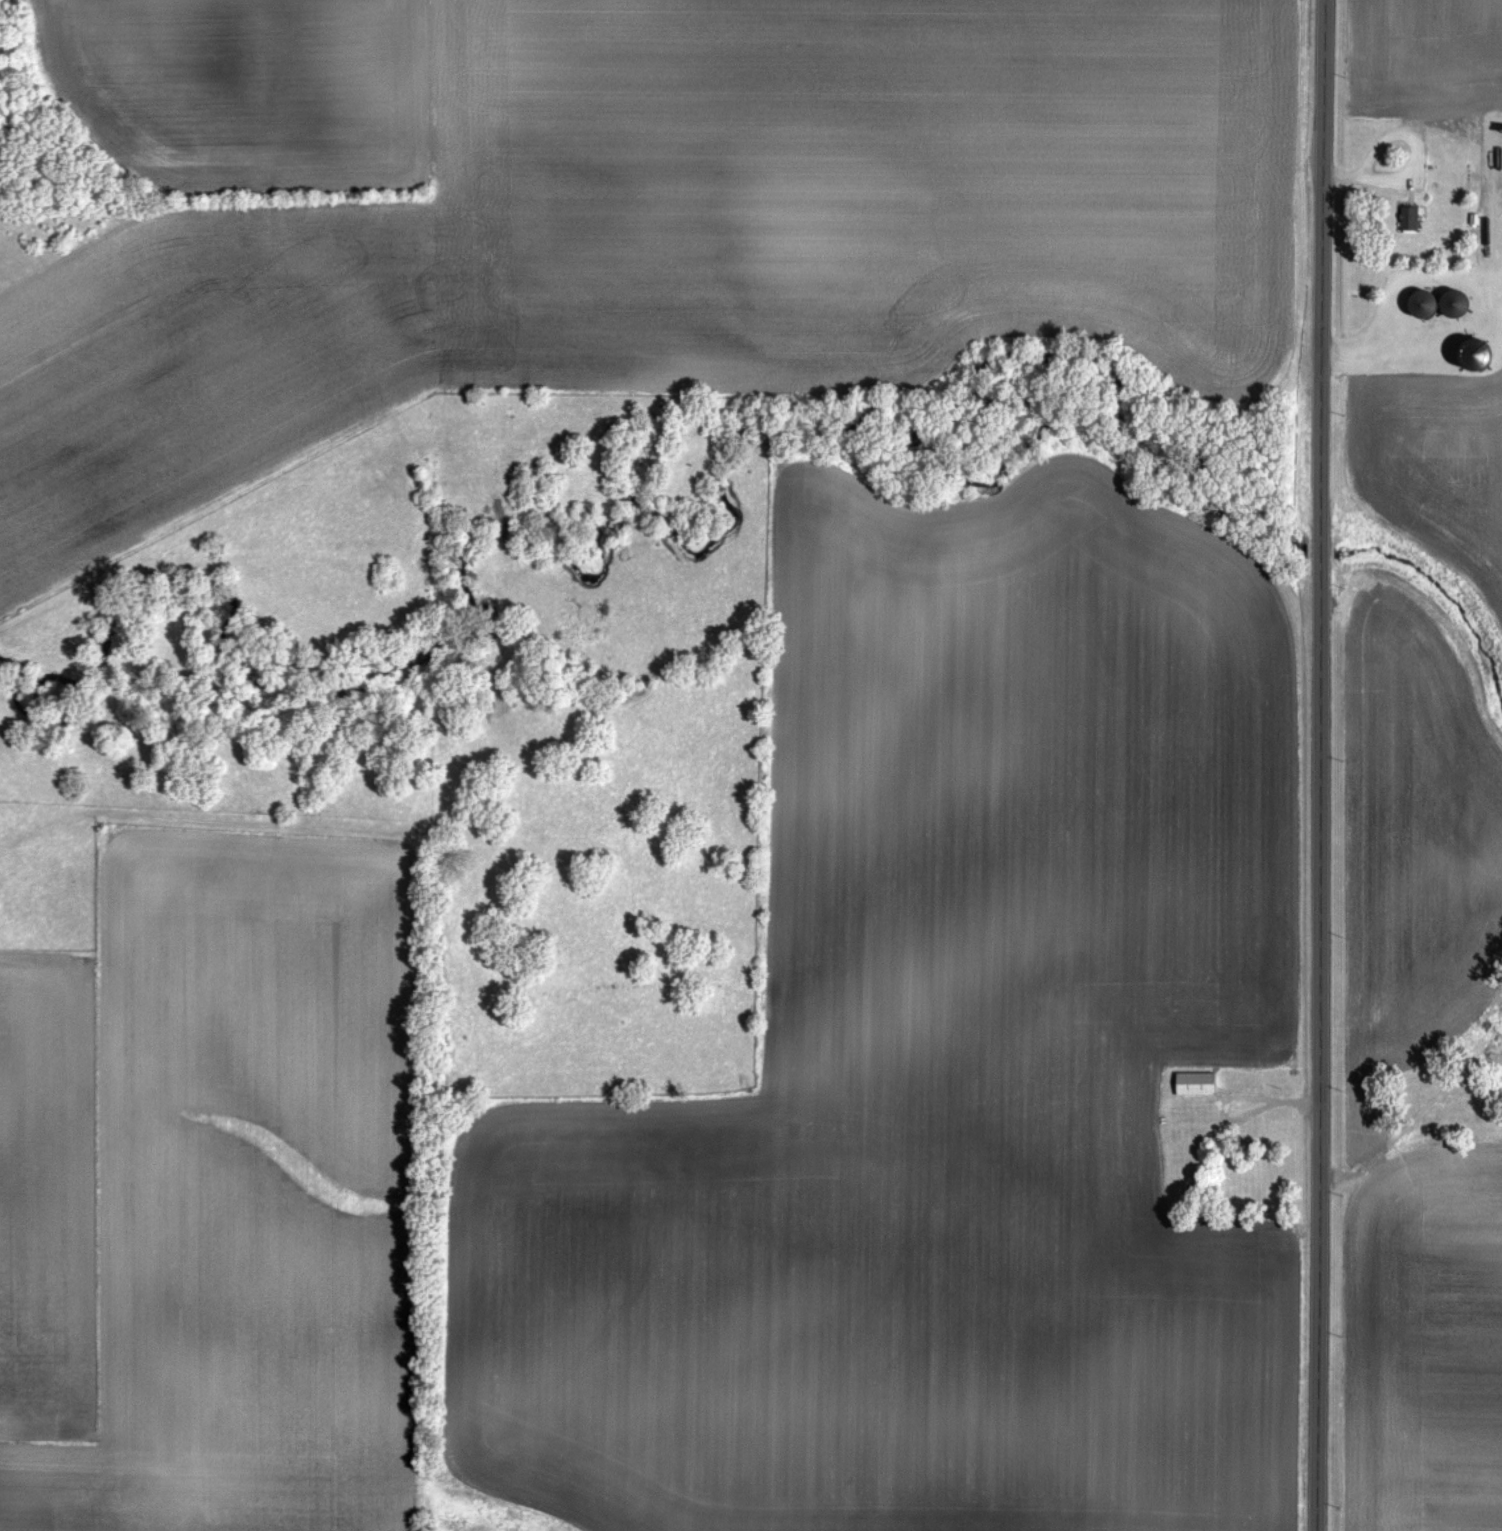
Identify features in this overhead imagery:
building: (1414, 219)
road: (1319, 765)
building: (1202, 1085)

